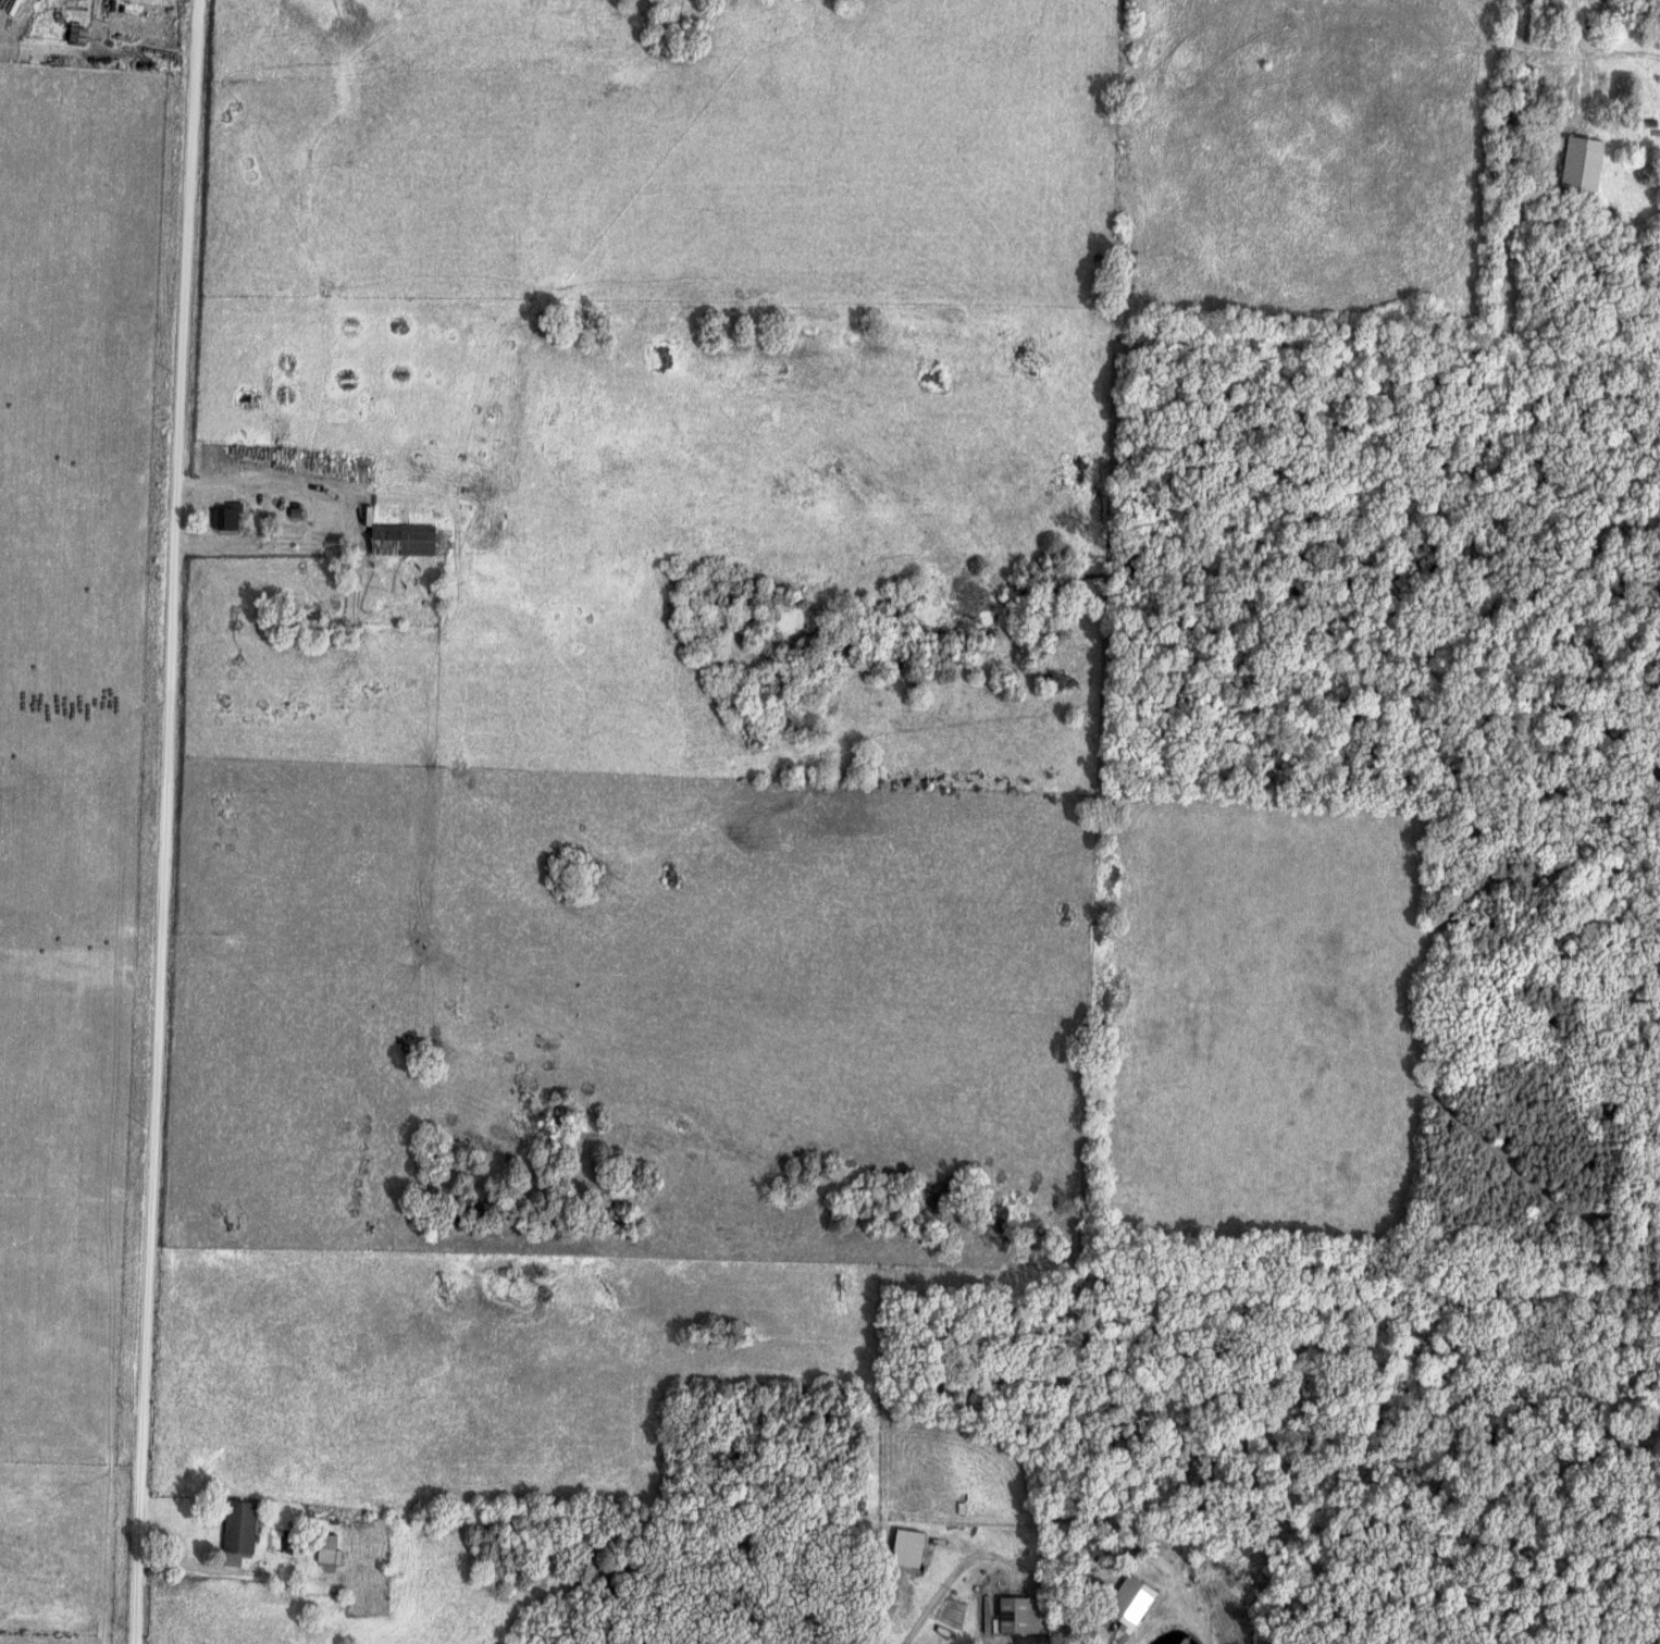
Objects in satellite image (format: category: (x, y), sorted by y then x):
road: (1571, 91)
building: (226, 516)
building: (408, 534)
road: (169, 821)
building: (241, 1525)
building: (918, 1566)
building: (379, 1599)
building: (1027, 1612)
road: (1039, 1640)

